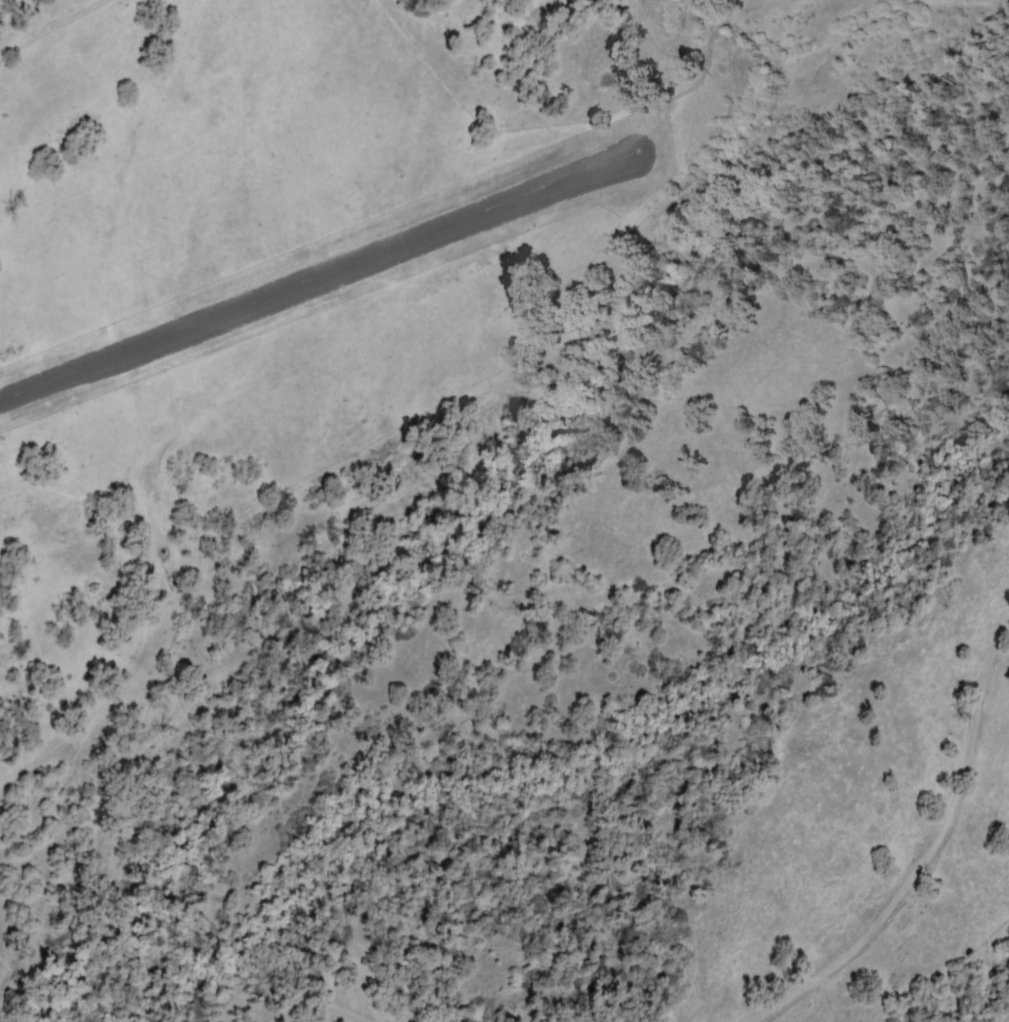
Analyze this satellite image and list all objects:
airport runway: (317, 274)

